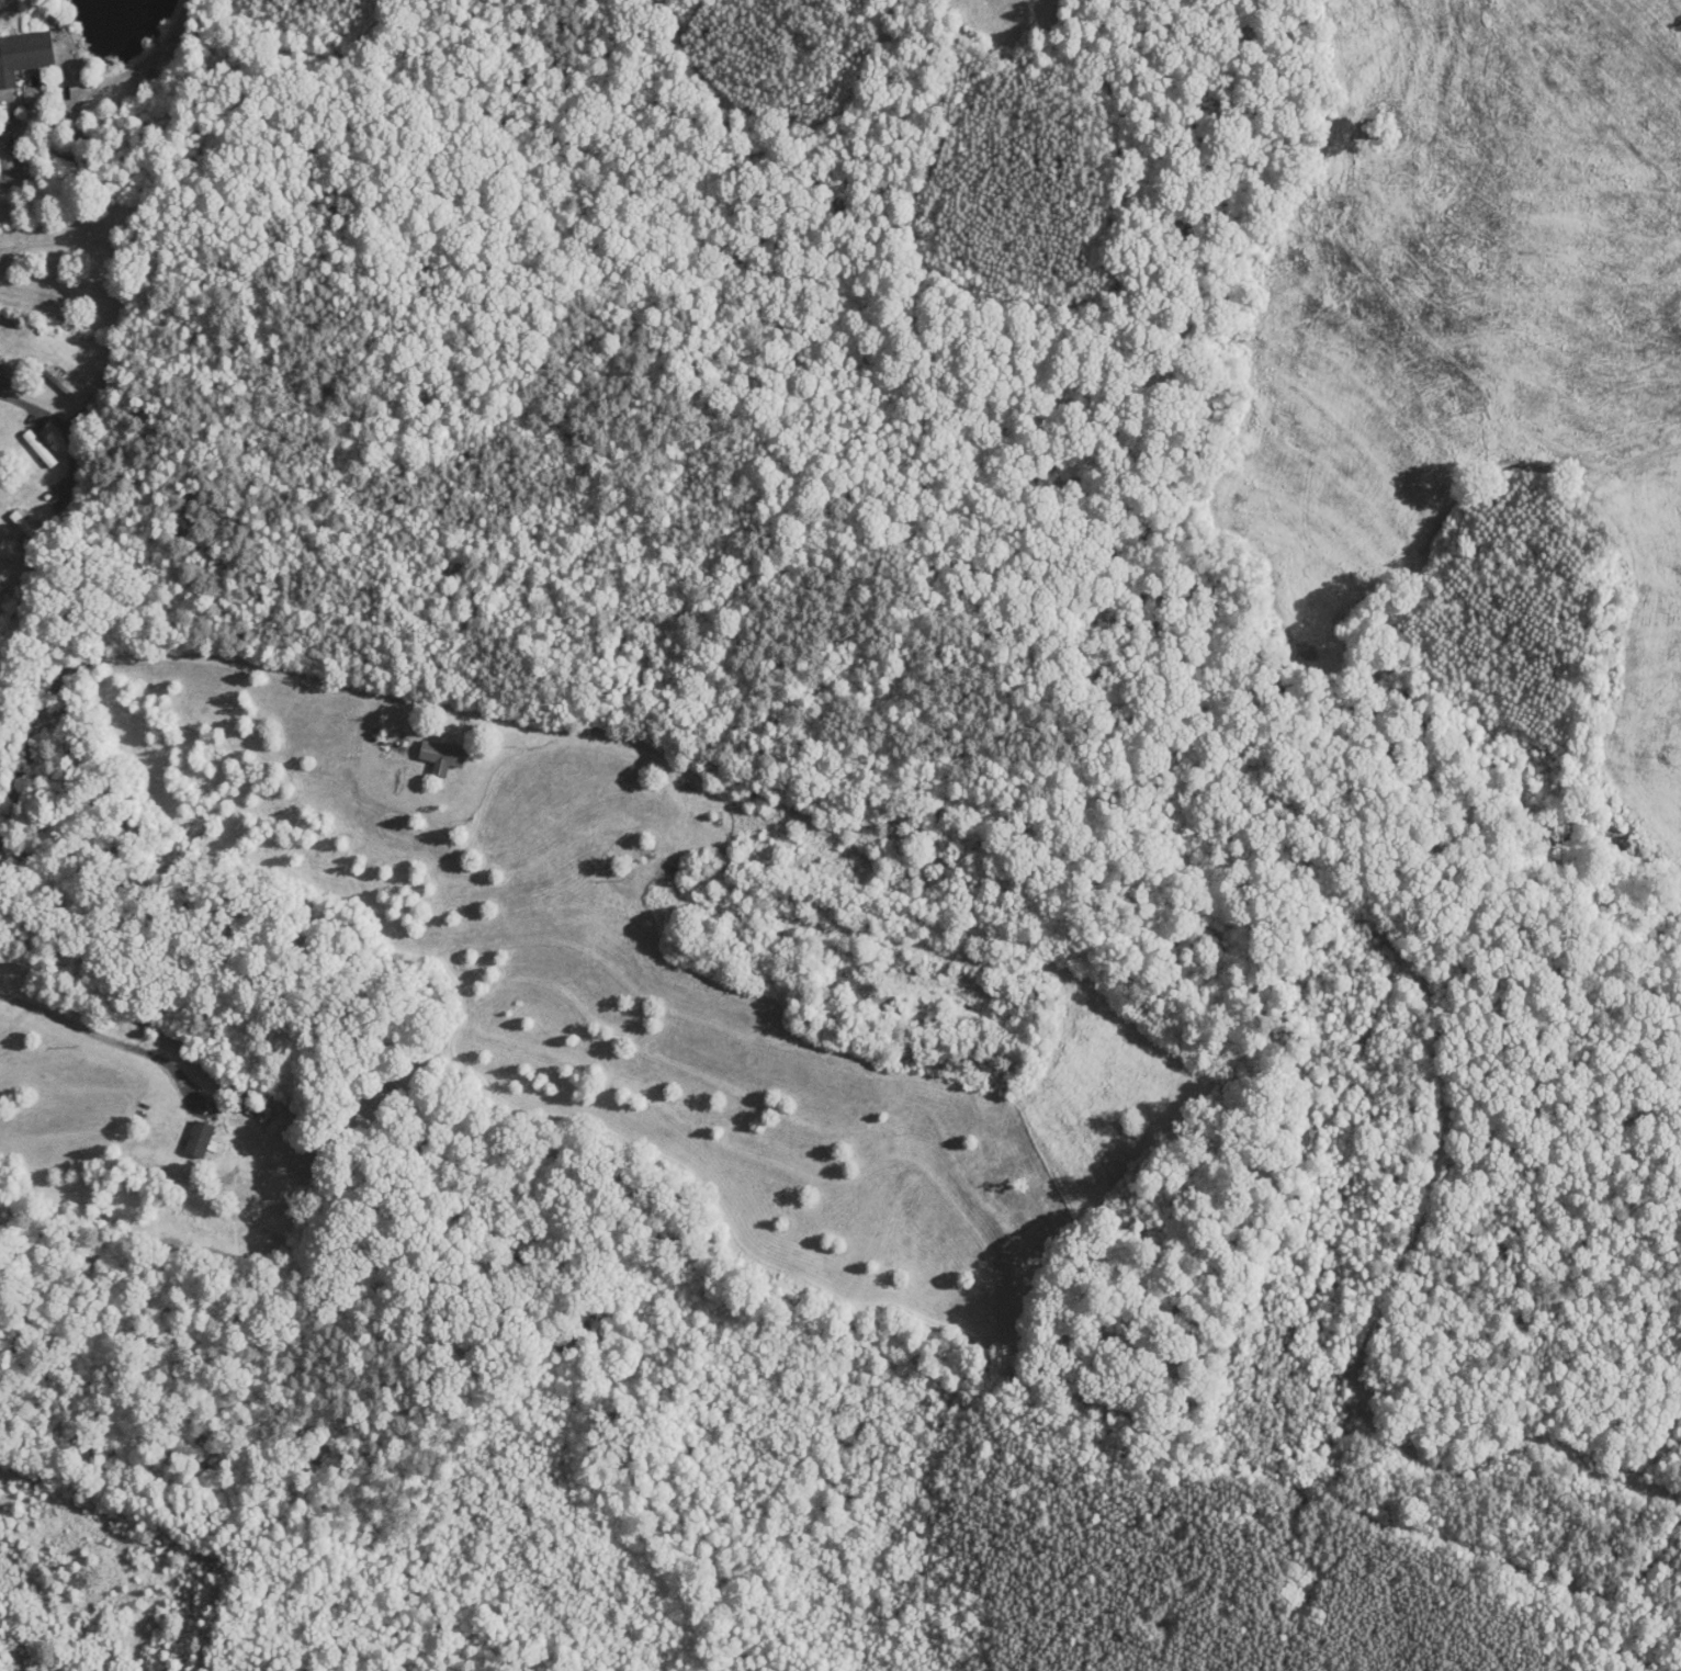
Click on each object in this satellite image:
building: (24, 55)
building: (11, 166)
building: (1, 362)
building: (65, 385)
building: (41, 449)
building: (29, 527)
road: (189, 666)
building: (443, 757)
building: (999, 937)
road: (103, 1034)
building: (200, 1140)

